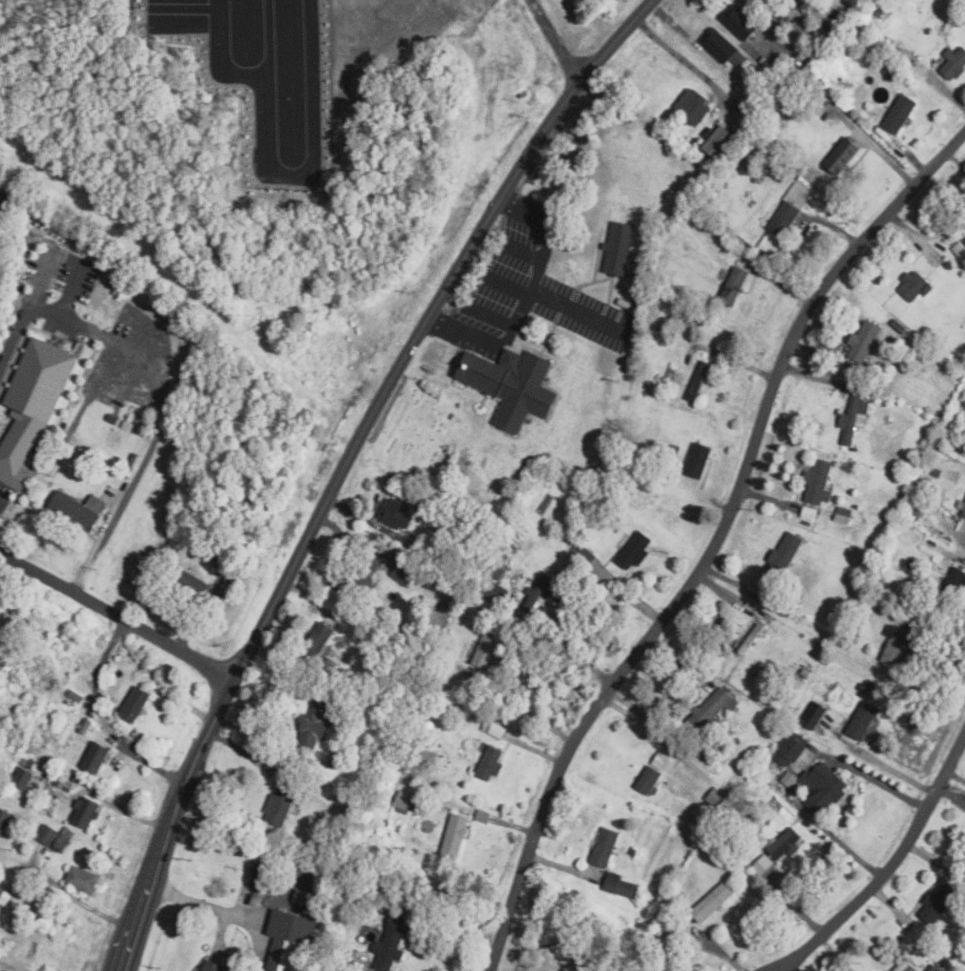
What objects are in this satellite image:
building: (738, 22)
road: (557, 40)
building: (724, 51)
road: (683, 61)
building: (953, 62)
building: (691, 106)
building: (898, 113)
building: (717, 141)
building: (841, 155)
building: (782, 218)
building: (964, 237)
building: (617, 249)
building: (733, 285)
building: (913, 285)
road: (78, 294)
road: (523, 295)
building: (864, 341)
building: (510, 384)
road: (165, 389)
building: (32, 406)
building: (853, 417)
building: (696, 460)
road: (345, 462)
building: (817, 481)
road: (4, 504)
building: (961, 507)
building: (77, 509)
building: (394, 513)
building: (842, 514)
road: (962, 537)
road: (716, 542)
building: (633, 551)
building: (783, 554)
building: (497, 568)
building: (404, 573)
building: (194, 582)
building: (537, 593)
road: (116, 618)
building: (318, 638)
building: (894, 644)
building: (484, 651)
road: (573, 654)
building: (133, 704)
building: (710, 708)
building: (812, 714)
road: (103, 718)
building: (861, 720)
building: (313, 722)
building: (493, 728)
building: (789, 748)
building: (94, 757)
building: (660, 761)
building: (488, 763)
road: (894, 770)
building: (21, 778)
building: (648, 780)
road: (883, 784)
building: (822, 786)
building: (406, 800)
building: (277, 806)
building: (83, 812)
building: (4, 819)
building: (46, 834)
building: (453, 837)
building: (62, 839)
building: (784, 843)
building: (604, 847)
road: (891, 865)
building: (259, 876)
building: (81, 878)
building: (620, 885)
road: (68, 894)
building: (4, 896)
building: (304, 898)
building: (711, 901)
building: (937, 901)
road: (225, 911)
building: (289, 941)
building: (390, 942)
road: (718, 951)
building: (210, 966)
building: (904, 966)
building: (933, 968)
building: (560, 970)

